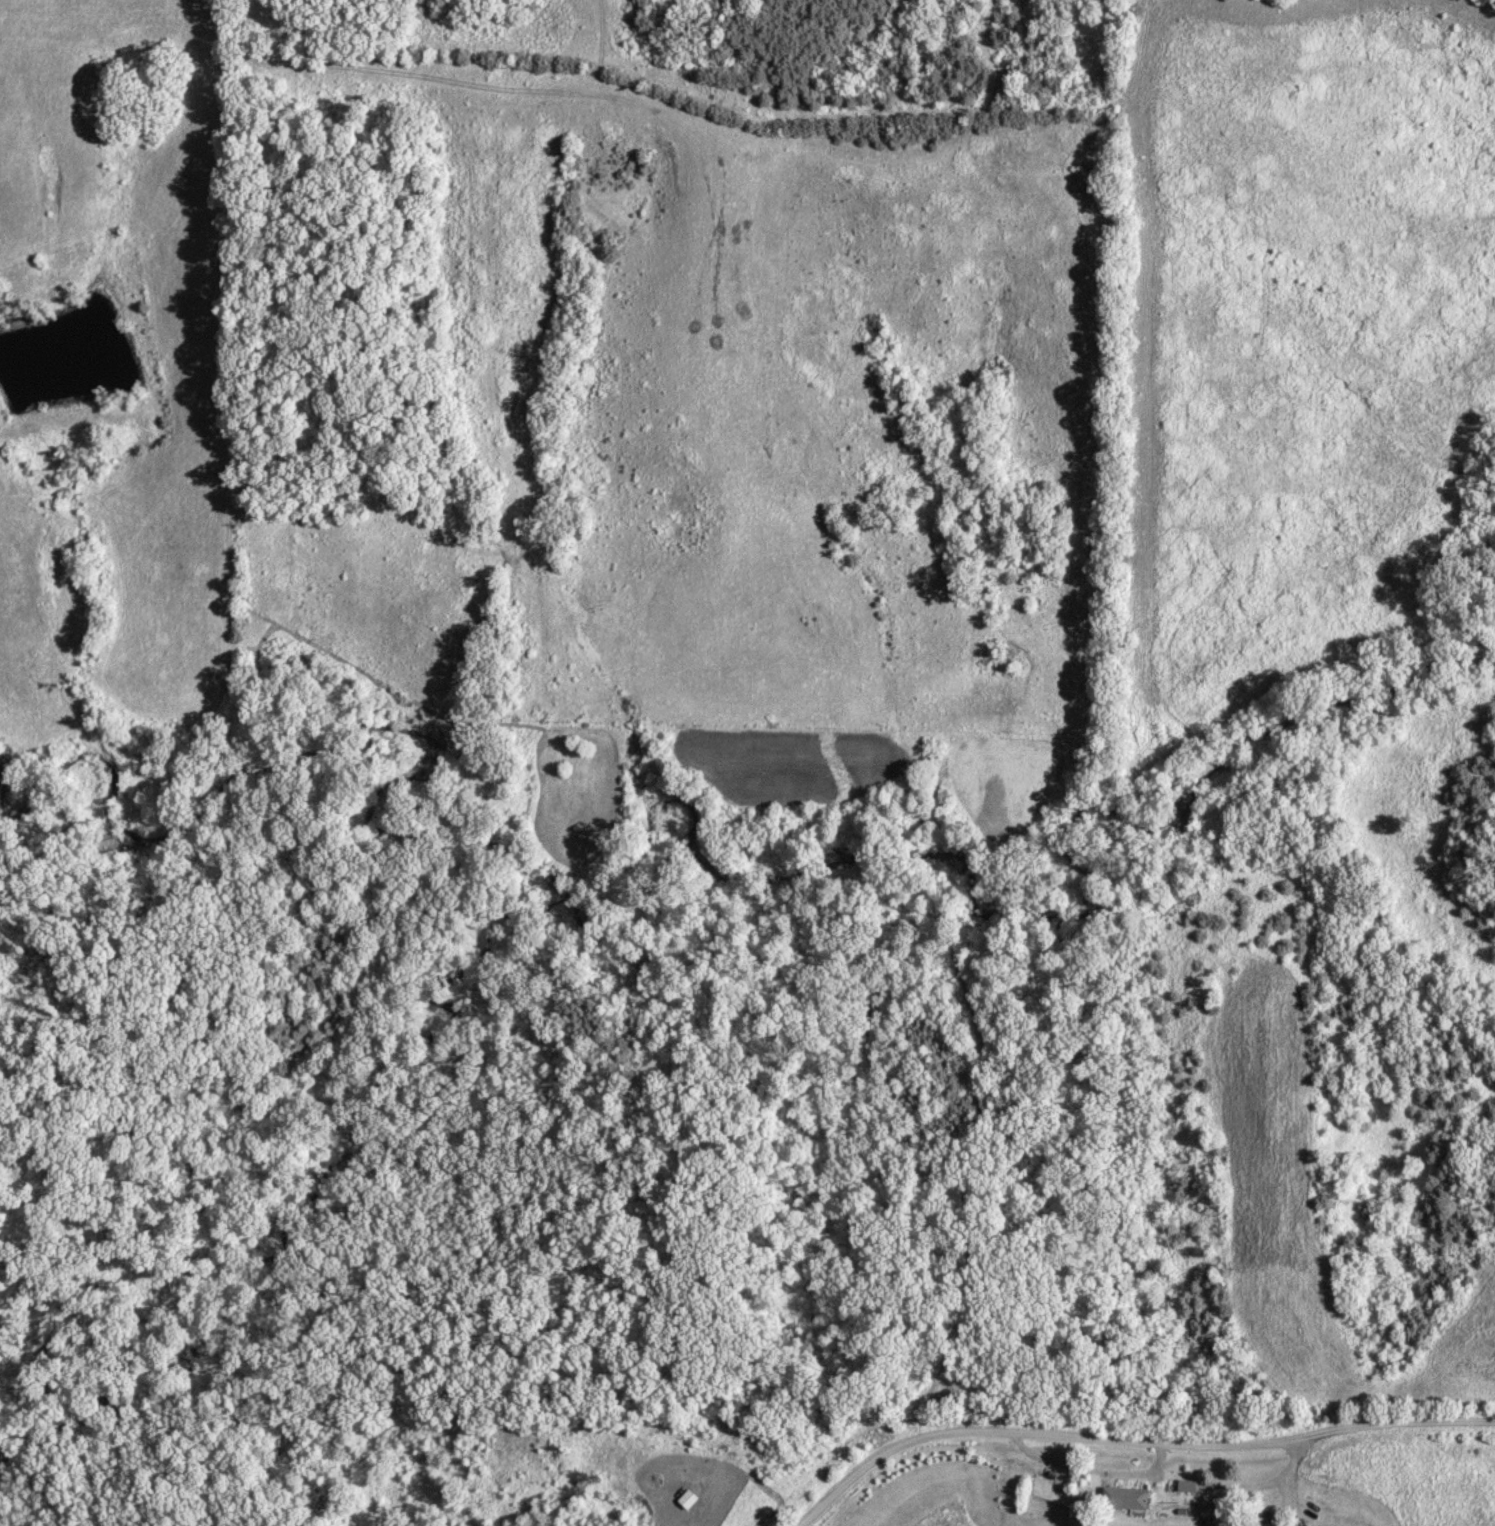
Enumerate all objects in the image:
road: (1137, 1441)
building: (1185, 1486)
building: (1123, 1499)
road: (1296, 1509)

